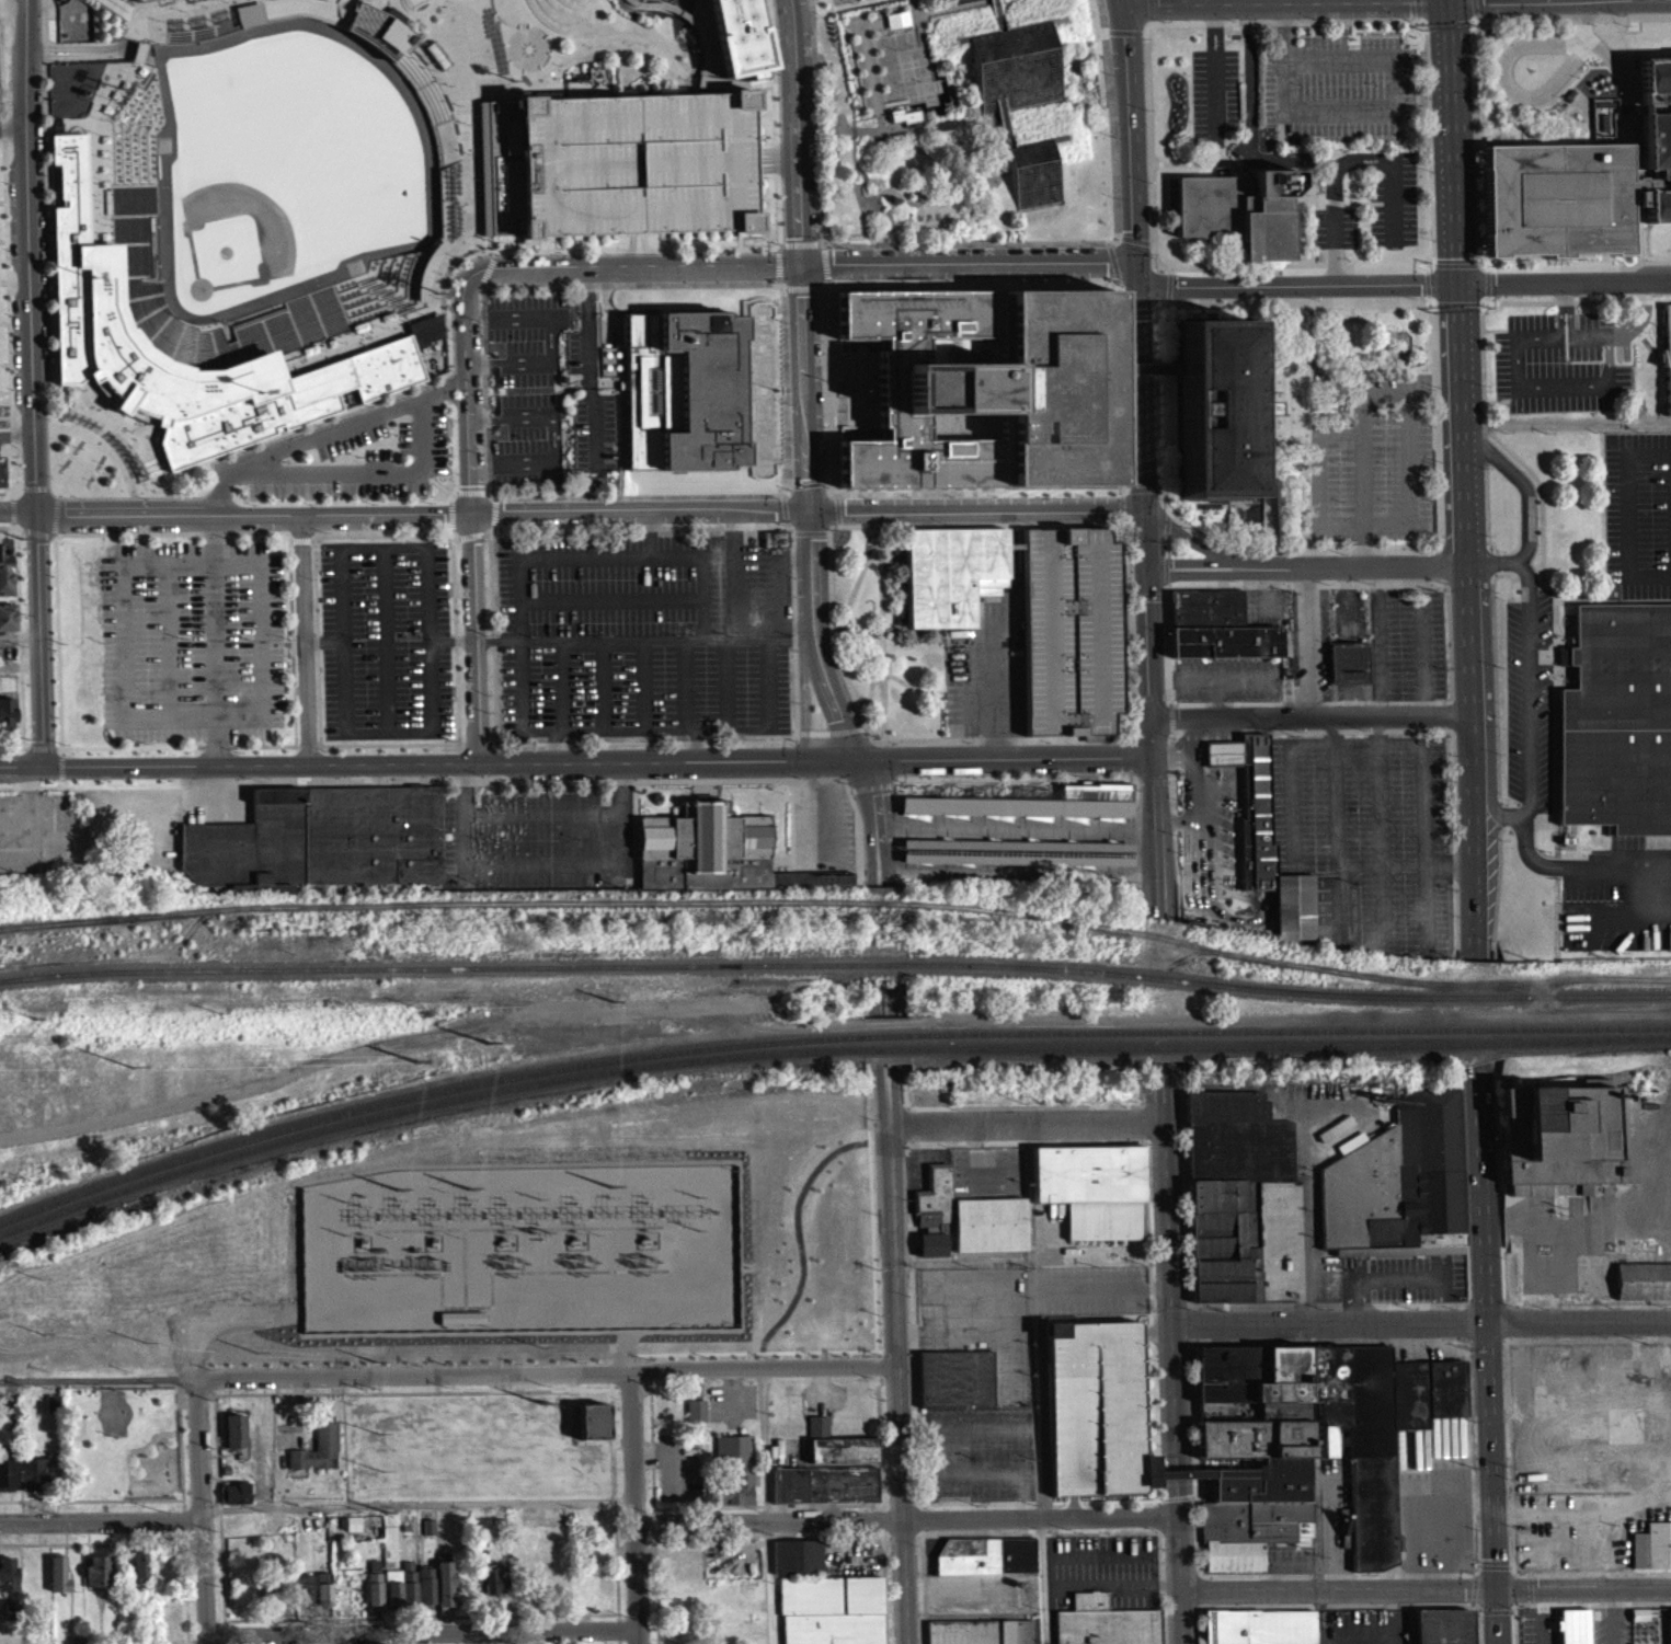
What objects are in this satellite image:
building: (963, 1)
road: (1241, 1)
road: (1279, 1)
road: (1283, 1)
building: (140, 2)
road: (354, 2)
road: (1121, 2)
road: (1258, 2)
building: (114, 3)
parking lot: (849, 3)
road: (145, 4)
road: (201, 4)
traffic signals: (1122, 5)
road: (513, 8)
road: (906, 10)
road: (126, 14)
road: (407, 14)
road: (186, 15)
road: (908, 15)
road: (117, 18)
building: (247, 21)
road: (1152, 21)
road: (1581, 21)
road: (515, 22)
road: (877, 27)
building: (75, 28)
road: (346, 30)
road: (400, 31)
road: (466, 32)
road: (537, 33)
road: (201, 34)
road: (525, 34)
building: (378, 35)
road: (1097, 36)
road: (542, 37)
road: (1105, 38)
road: (1124, 39)
building: (735, 41)
road: (145, 50)
road: (503, 51)
fountain: (525, 55)
road: (88, 59)
road: (138, 59)
road: (549, 61)
road: (895, 62)
road: (1473, 65)
road: (1215, 67)
road: (444, 71)
road: (536, 77)
road: (425, 81)
road: (425, 81)
parking lot: (1341, 82)
road: (1508, 82)
road: (926, 89)
parking lot: (1215, 90)
road: (695, 93)
road: (434, 94)
road: (433, 95)
road: (129, 102)
building: (1018, 102)
road: (1367, 107)
road: (100, 119)
road: (760, 120)
building: (902, 122)
building: (1604, 122)
road: (432, 123)
park: (961, 123)
road: (1250, 123)
road: (1109, 125)
road: (446, 126)
road: (11, 127)
road: (114, 127)
road: (123, 130)
road: (434, 130)
road: (434, 131)
road: (123, 133)
road: (131, 133)
building: (943, 133)
road: (140, 136)
road: (871, 136)
road: (149, 138)
road: (131, 139)
road: (1452, 140)
road: (833, 141)
road: (91, 145)
road: (0, 146)
road: (140, 146)
road: (855, 146)
road: (1129, 146)
road: (436, 148)
road: (913, 151)
road: (149, 154)
road: (1394, 168)
road: (111, 171)
building: (633, 171)
parking garage: (633, 171)
park: (285, 172)
building: (496, 174)
road: (470, 176)
road: (947, 181)
building: (1581, 182)
road: (123, 192)
stadium: (293, 196)
parking lot: (1394, 198)
road: (156, 206)
building: (1238, 208)
road: (913, 211)
road: (1335, 228)
traffic signals: (1133, 229)
road: (108, 237)
road: (820, 246)
road: (968, 249)
road: (798, 250)
road: (140, 251)
road: (779, 251)
road: (524, 252)
road: (430, 253)
road: (1433, 255)
road: (419, 260)
road: (26, 261)
road: (408, 262)
traffic signals: (1108, 262)
road: (397, 263)
road: (387, 265)
road: (966, 265)
road: (377, 267)
traffic signals: (800, 269)
road: (642, 271)
road: (424, 275)
building: (427, 276)
road: (1564, 279)
road: (409, 280)
traffic signals: (1457, 280)
road: (118, 284)
road: (1296, 284)
road: (351, 285)
traffic signals: (1178, 286)
road: (3, 289)
road: (7, 290)
road: (369, 290)
road: (783, 291)
road: (379, 297)
road: (309, 299)
road: (414, 301)
road: (380, 302)
road: (388, 302)
building: (85, 309)
road: (168, 312)
road: (377, 313)
road: (314, 319)
traffic signals: (1136, 319)
road: (430, 321)
road: (259, 326)
road: (460, 326)
road: (204, 331)
road: (370, 331)
road: (182, 334)
building: (423, 335)
road: (208, 337)
road: (211, 349)
road: (239, 354)
building: (1667, 365)
road: (588, 371)
road: (443, 372)
road: (188, 380)
road: (445, 382)
road: (54, 383)
road: (804, 384)
building: (986, 384)
parking lot: (548, 390)
road: (446, 395)
building: (680, 396)
building: (1214, 406)
road: (90, 413)
road: (146, 413)
road: (1364, 413)
road: (1567, 418)
road: (332, 421)
road: (1463, 421)
road: (4, 424)
road: (96, 427)
road: (4, 435)
road: (88, 437)
road: (116, 441)
road: (10, 442)
road: (15, 444)
road: (118, 446)
parking lot: (323, 446)
road: (99, 451)
road: (466, 456)
road: (87, 457)
road: (135, 468)
road: (231, 474)
building: (0, 478)
road: (11, 479)
road: (125, 480)
road: (202, 480)
road: (357, 480)
road: (164, 483)
road: (193, 486)
road: (1525, 487)
road: (49, 493)
road: (438, 493)
road: (33, 494)
road: (11, 495)
road: (454, 498)
road: (469, 498)
road: (202, 499)
road: (215, 499)
road: (56, 502)
road: (1143, 502)
road: (448, 507)
road: (386, 508)
road: (805, 510)
traffic signals: (810, 510)
road: (318, 511)
traffic signals: (1144, 511)
road: (1627, 514)
parking lot: (1637, 515)
road: (385, 518)
road: (16, 519)
road: (10, 520)
road: (123, 521)
road: (256, 521)
road: (449, 522)
road: (53, 524)
road: (981, 525)
road: (831, 526)
road: (535, 528)
road: (790, 528)
road: (179, 531)
road: (4, 533)
road: (376, 537)
building: (775, 538)
road: (33, 540)
road: (895, 542)
road: (386, 547)
building: (774, 547)
road: (542, 555)
road: (195, 563)
building: (5, 565)
road: (1307, 566)
road: (735, 571)
building: (952, 571)
road: (881, 589)
road: (854, 593)
road: (611, 598)
road: (1132, 601)
building: (8, 617)
road: (796, 622)
road: (455, 625)
building: (1216, 625)
building: (1071, 630)
parking garage: (1071, 630)
road: (780, 631)
parking lot: (642, 634)
parking lot: (386, 635)
road: (18, 636)
road: (20, 637)
road: (473, 637)
road: (677, 639)
road: (1469, 639)
road: (170, 640)
parking lot: (194, 640)
road: (387, 640)
road: (305, 641)
road: (1308, 641)
road: (56, 644)
parking lot: (1412, 644)
road: (37, 646)
road: (293, 646)
road: (318, 646)
road: (839, 655)
building: (1349, 662)
parking lot: (988, 671)
road: (728, 682)
road: (644, 683)
road: (686, 683)
road: (563, 685)
road: (605, 685)
road: (1530, 688)
road: (872, 689)
road: (927, 695)
parking lot: (1530, 698)
road: (885, 705)
building: (7, 712)
road: (1135, 712)
road: (1312, 716)
building: (1618, 721)
road: (646, 728)
road: (390, 731)
road: (828, 732)
road: (1152, 738)
road: (1017, 739)
road: (656, 740)
road: (1414, 740)
road: (390, 741)
road: (488, 743)
road: (178, 744)
road: (698, 744)
road: (11, 745)
road: (557, 745)
road: (41, 747)
road: (1008, 759)
road: (743, 760)
traffic signals: (865, 760)
road: (330, 761)
road: (1473, 763)
road: (60, 766)
road: (19, 771)
road: (816, 778)
road: (664, 780)
road: (318, 783)
road: (622, 789)
road: (1290, 789)
road: (874, 795)
road: (1154, 797)
road: (1335, 808)
road: (860, 824)
building: (1018, 832)
building: (706, 835)
road: (1017, 835)
road: (1381, 835)
parking lot: (538, 836)
parking lot: (1366, 836)
building: (322, 840)
road: (880, 846)
building: (1263, 848)
road: (1529, 849)
road: (593, 862)
road: (1603, 863)
road: (885, 870)
road: (877, 871)
road: (1157, 875)
road: (1017, 880)
road: (1477, 884)
road: (1650, 890)
railway: (884, 963)
railway: (1026, 965)
railway: (430, 966)
railway: (1170, 979)
railway: (1318, 990)
railway: (1591, 995)
railway: (1476, 996)
railway: (1403, 1028)
railway: (1023, 1033)
road: (893, 1034)
road: (878, 1035)
railway: (886, 1035)
railway: (1291, 1043)
railway: (886, 1047)
railway: (423, 1094)
railway: (423, 1105)
road: (1027, 1126)
building: (1568, 1134)
building: (1229, 1196)
building: (1092, 1197)
building: (932, 1204)
building: (988, 1232)
power substation: (520, 1245)
building: (930, 1253)
building: (1643, 1289)
road: (1422, 1321)
road: (1498, 1325)
road: (1176, 1352)
road: (897, 1363)
road: (548, 1373)
building: (954, 1387)
building: (51, 1411)
building: (1095, 1417)
building: (694, 1418)
building: (592, 1429)
building: (234, 1438)
power substation: (478, 1444)
building: (1307, 1450)
building: (836, 1453)
park: (136, 1455)
building: (317, 1455)
building: (1403, 1464)
building: (734, 1479)
building: (5, 1481)
building: (31, 1482)
building: (825, 1493)
building: (234, 1502)
road: (638, 1507)
road: (202, 1514)
road: (909, 1520)
road: (101, 1524)
building: (1651, 1554)
building: (985, 1564)
building: (797, 1565)
building: (139, 1574)
building: (96, 1579)
building: (7, 1582)
road: (768, 1583)
building: (57, 1584)
building: (493, 1589)
building: (408, 1590)
road: (1344, 1590)
road: (1589, 1590)
traffic signals: (1507, 1591)
building: (374, 1593)
building: (445, 1594)
building: (302, 1595)
building: (392, 1595)
building: (426, 1596)
building: (831, 1614)
building: (9, 1618)
road: (1507, 1618)
building: (1102, 1626)
building: (1572, 1630)
building: (1669, 1630)
building: (1260, 1631)
building: (1443, 1631)
road: (422, 1634)
building: (980, 1635)

